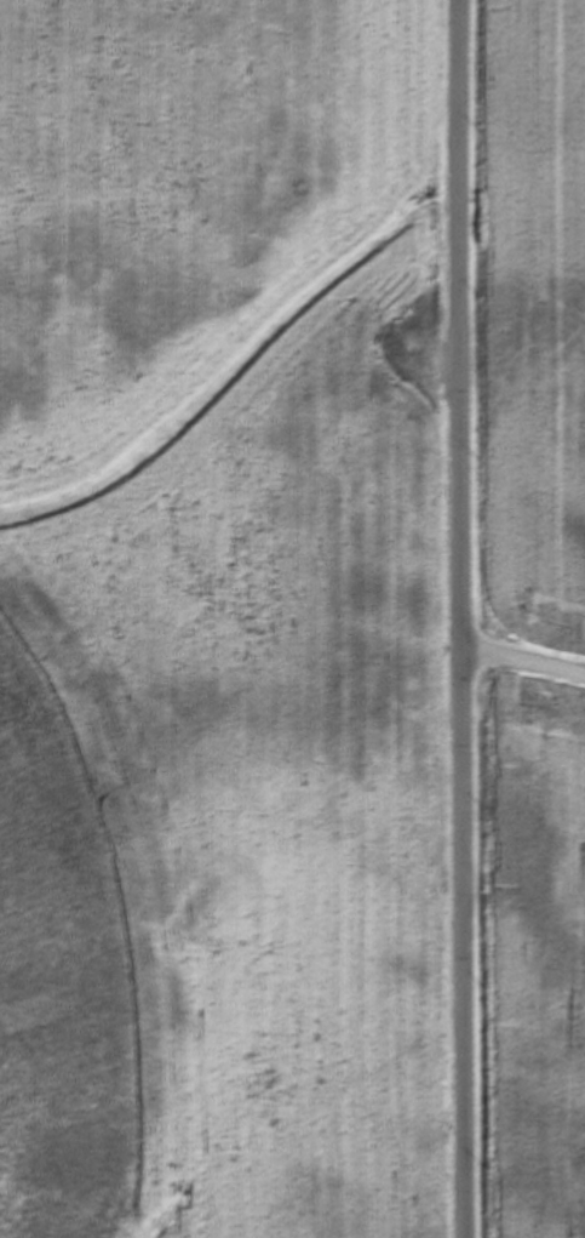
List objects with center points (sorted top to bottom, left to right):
road: (438, 618)
road: (510, 737)

